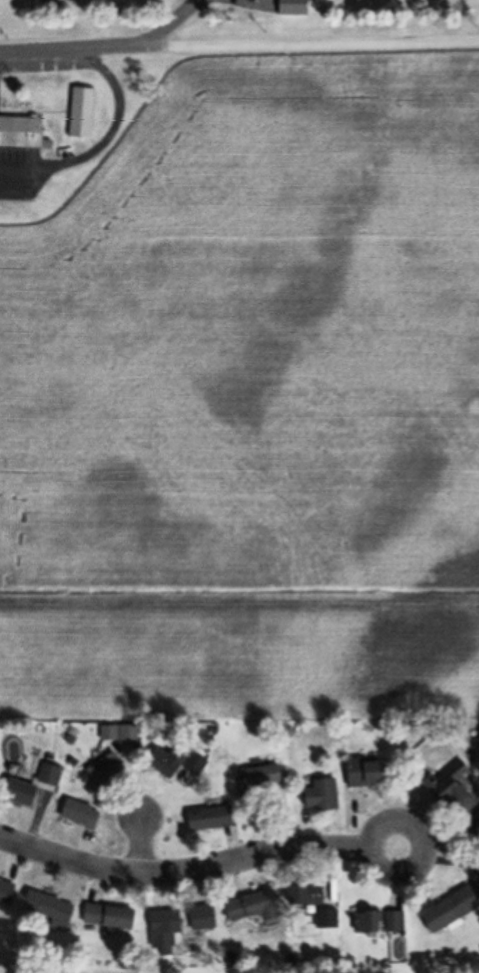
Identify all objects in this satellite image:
building: (289, 8)
road: (239, 41)
building: (79, 114)
building: (21, 135)
crop: (251, 401)
building: (172, 763)
building: (102, 770)
building: (363, 775)
building: (46, 777)
building: (257, 779)
building: (451, 790)
building: (17, 794)
building: (319, 797)
building: (78, 815)
building: (207, 820)
road: (380, 825)
road: (136, 848)
road: (183, 874)
building: (5, 893)
building: (302, 897)
building: (250, 908)
building: (47, 911)
building: (446, 912)
building: (105, 918)
building: (199, 919)
building: (326, 919)
building: (392, 922)
building: (366, 923)
building: (161, 930)

